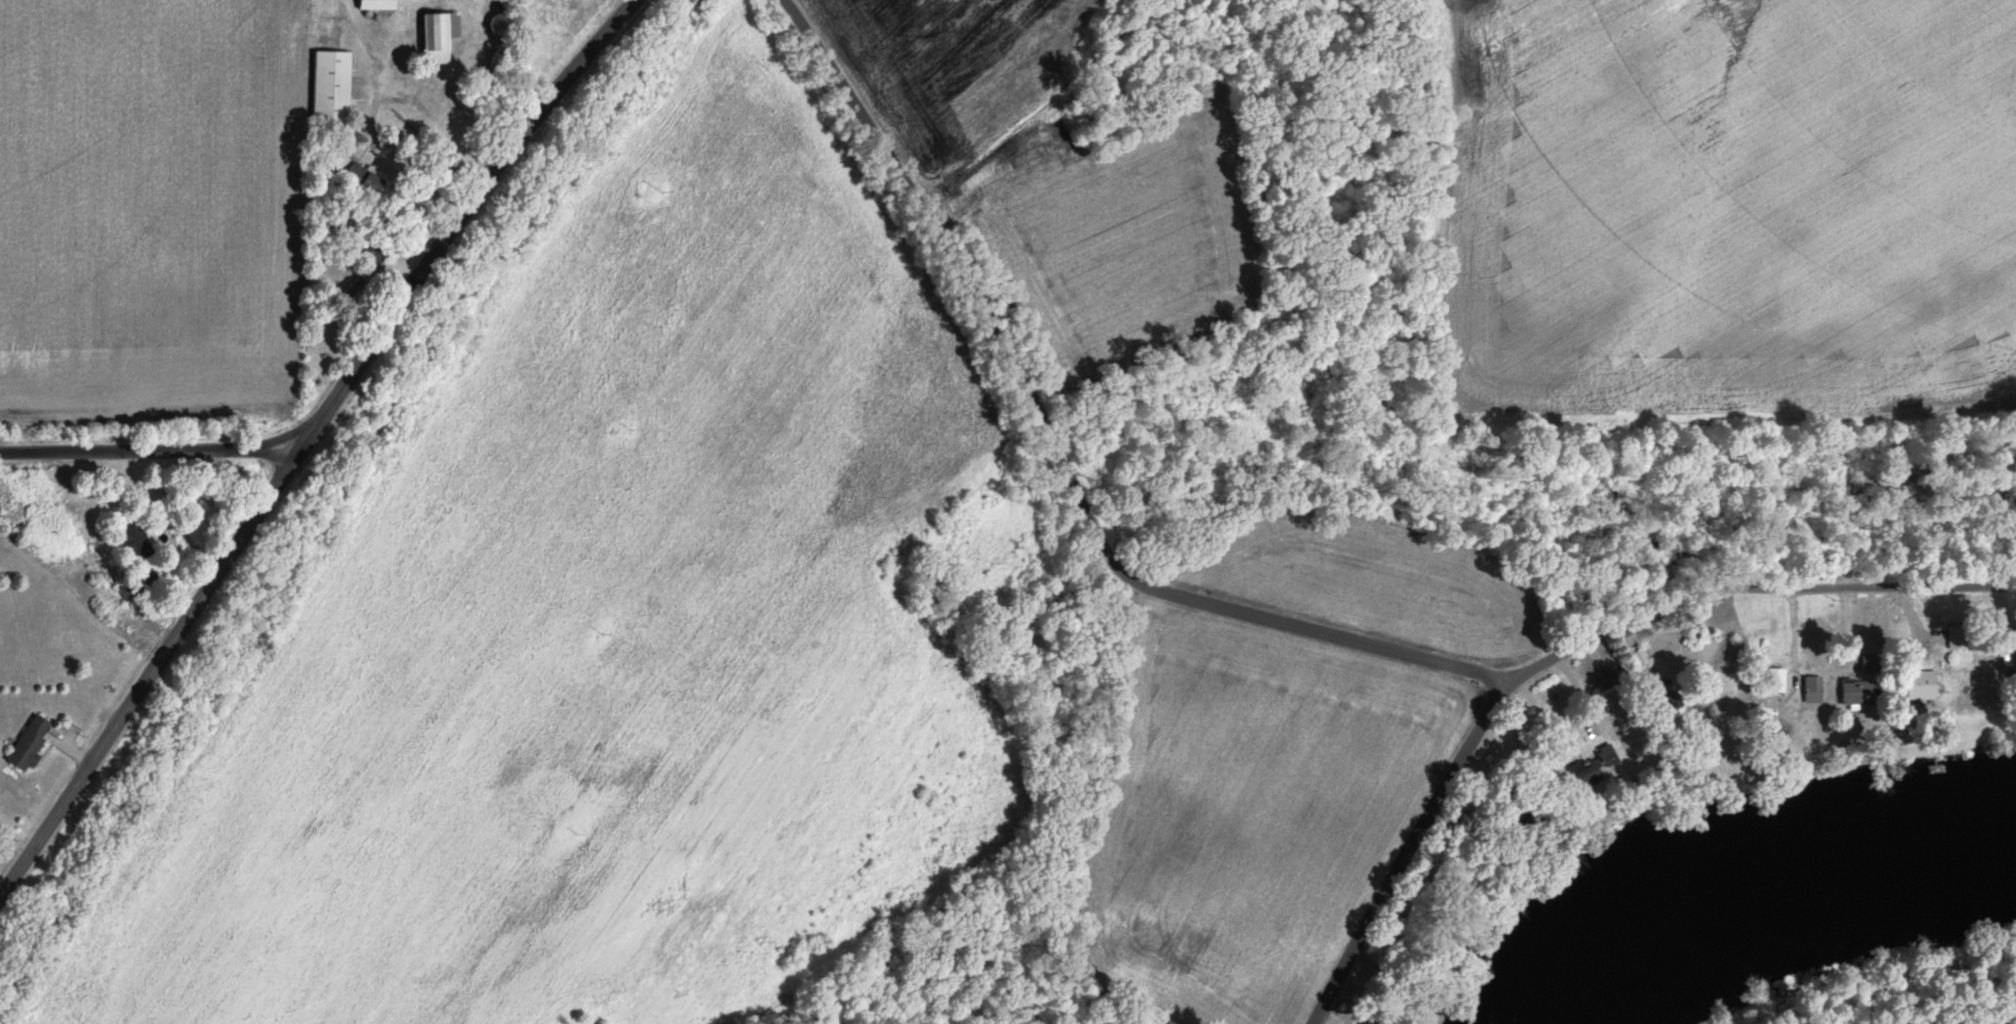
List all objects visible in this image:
building: (373, 6)
building: (495, 26)
building: (435, 37)
building: (328, 86)
building: (359, 180)
road: (316, 440)
road: (154, 453)
road: (1057, 458)
building: (134, 542)
road: (1751, 590)
building: (1955, 637)
building: (1637, 659)
building: (1605, 679)
building: (1919, 686)
building: (1811, 690)
building: (1856, 692)
building: (27, 743)
building: (1591, 767)
road: (1403, 850)
river: (1774, 894)

